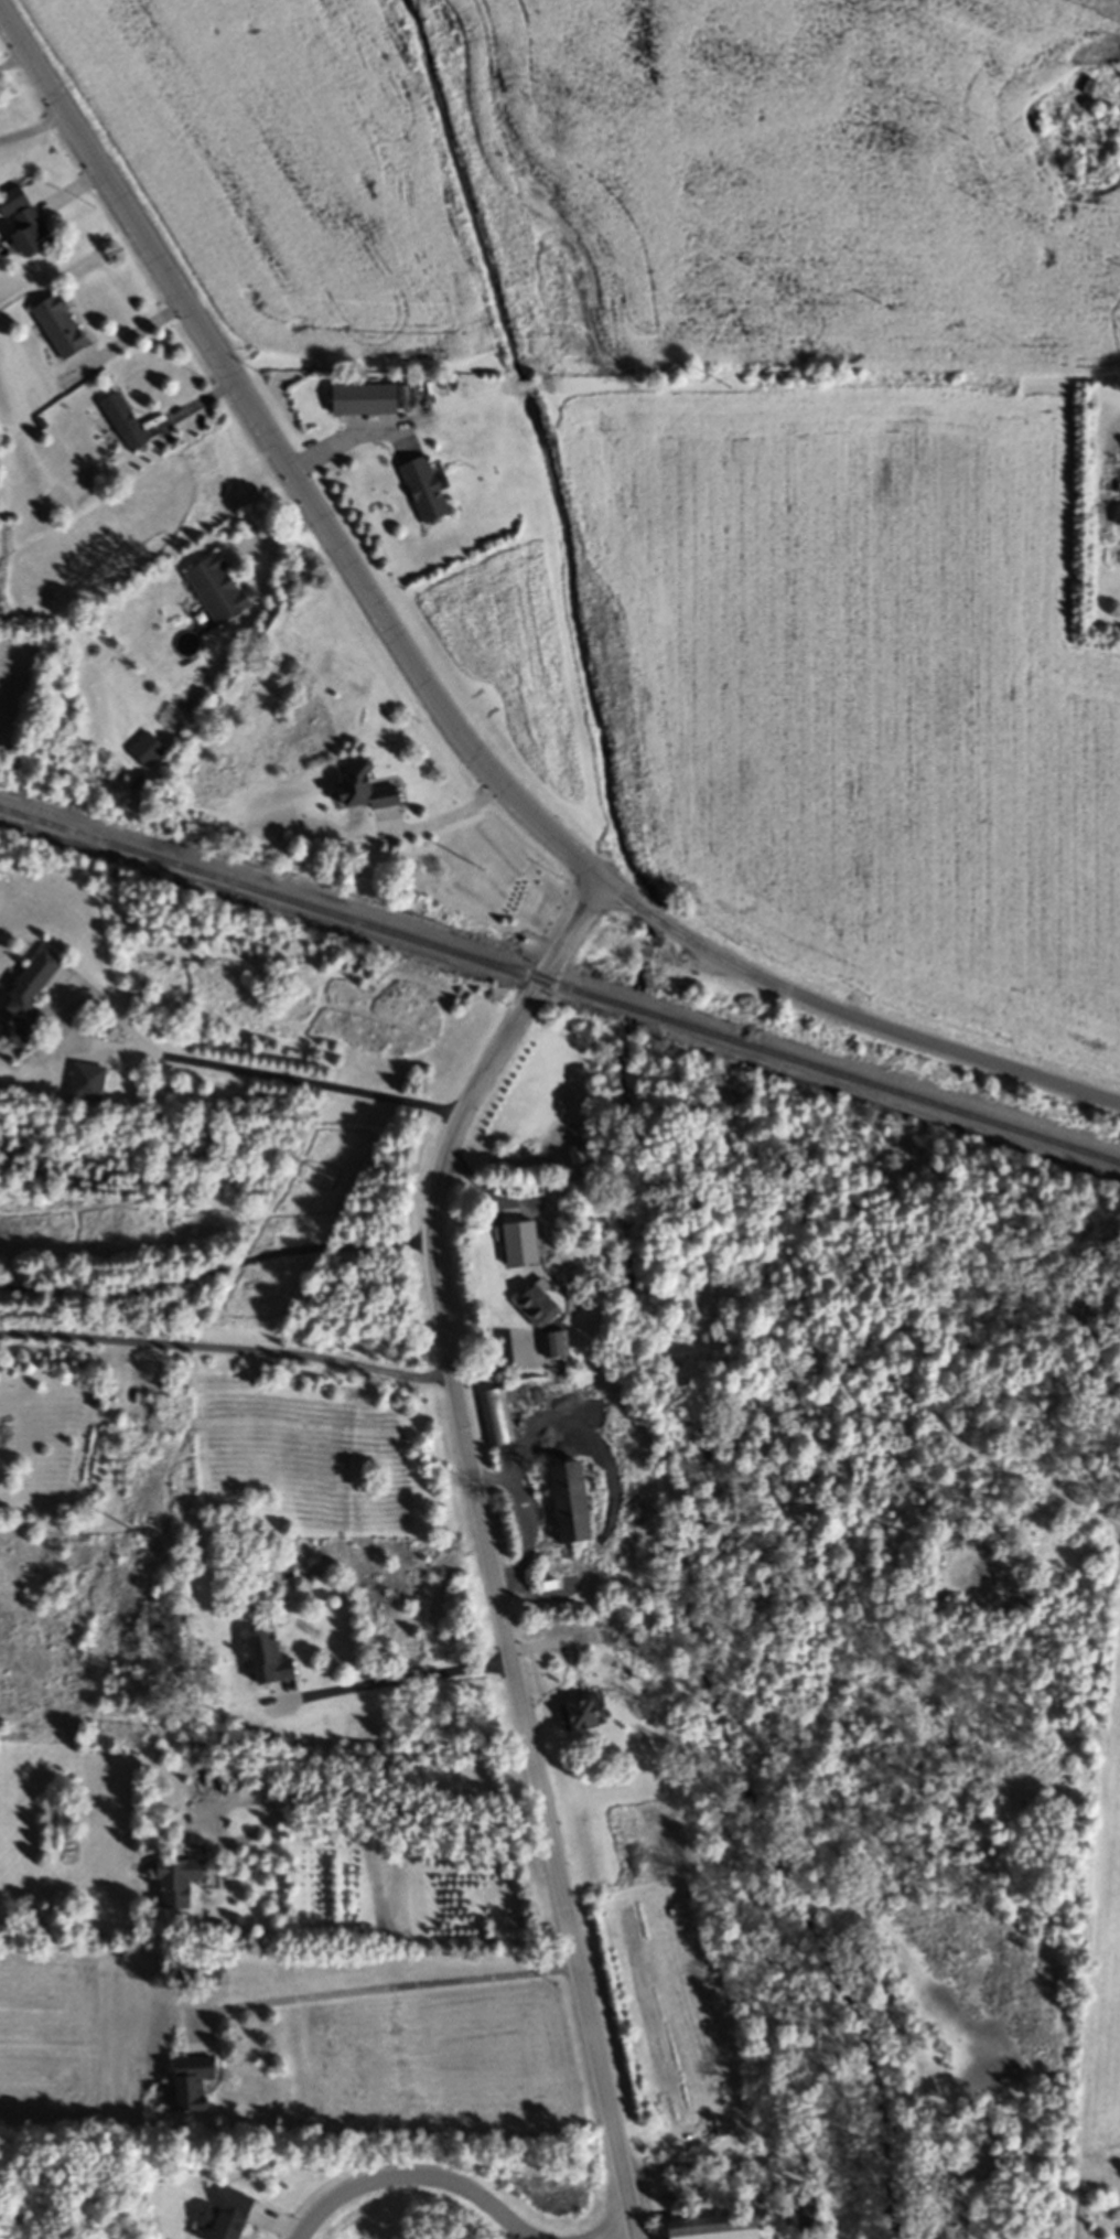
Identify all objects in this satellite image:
road: (15, 62)
road: (34, 131)
building: (28, 235)
building: (58, 330)
road: (131, 331)
power tower: (725, 383)
building: (362, 404)
building: (123, 426)
road: (344, 438)
road: (282, 457)
building: (1111, 482)
building: (422, 493)
building: (1118, 518)
building: (216, 591)
building: (360, 792)
power tower: (476, 878)
road: (625, 898)
road: (651, 918)
railway: (559, 990)
building: (28, 1003)
road: (881, 1031)
road: (186, 1059)
power tower: (320, 1187)
road: (215, 1273)
building: (535, 1309)
building: (553, 1347)
road: (229, 1353)
building: (496, 1420)
building: (567, 1506)
power tower: (144, 1529)
road: (487, 1541)
building: (267, 1663)
road: (402, 1683)
building: (581, 1716)
road: (394, 1813)
building: (177, 1886)
road: (389, 1994)
building: (190, 2086)
road: (417, 2178)
building: (226, 2218)
building: (711, 2229)

